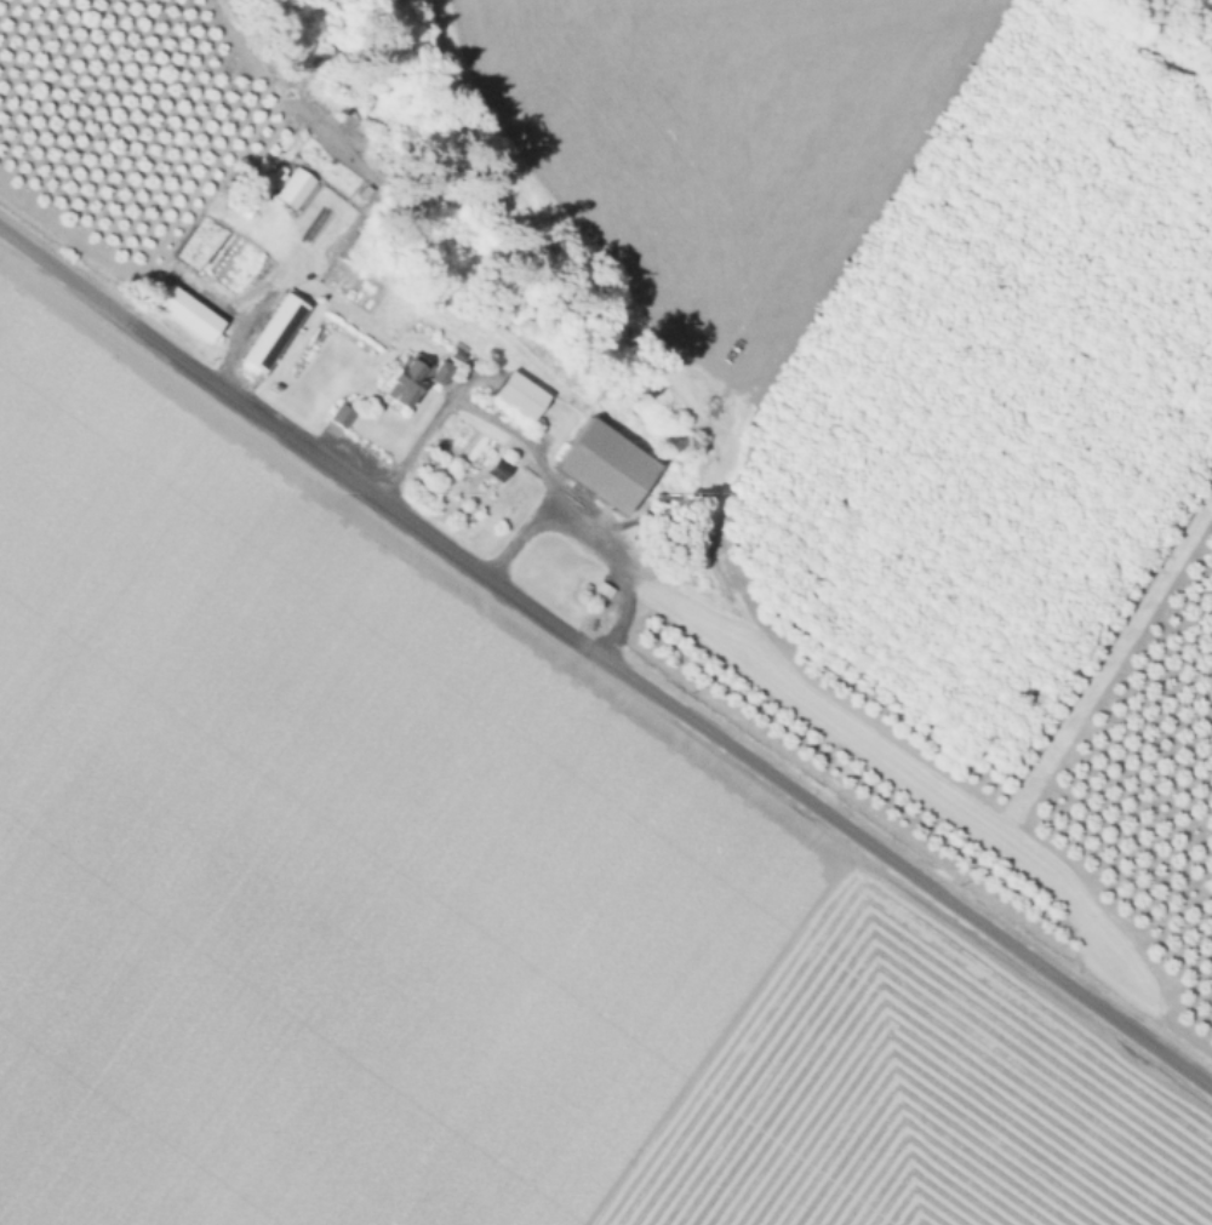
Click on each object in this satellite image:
building: (292, 189)
building: (227, 258)
road: (211, 294)
building: (185, 315)
road: (241, 327)
building: (273, 330)
building: (407, 378)
building: (516, 396)
building: (339, 417)
road: (502, 429)
building: (600, 468)
road: (619, 561)
road: (604, 662)
crop: (447, 894)

